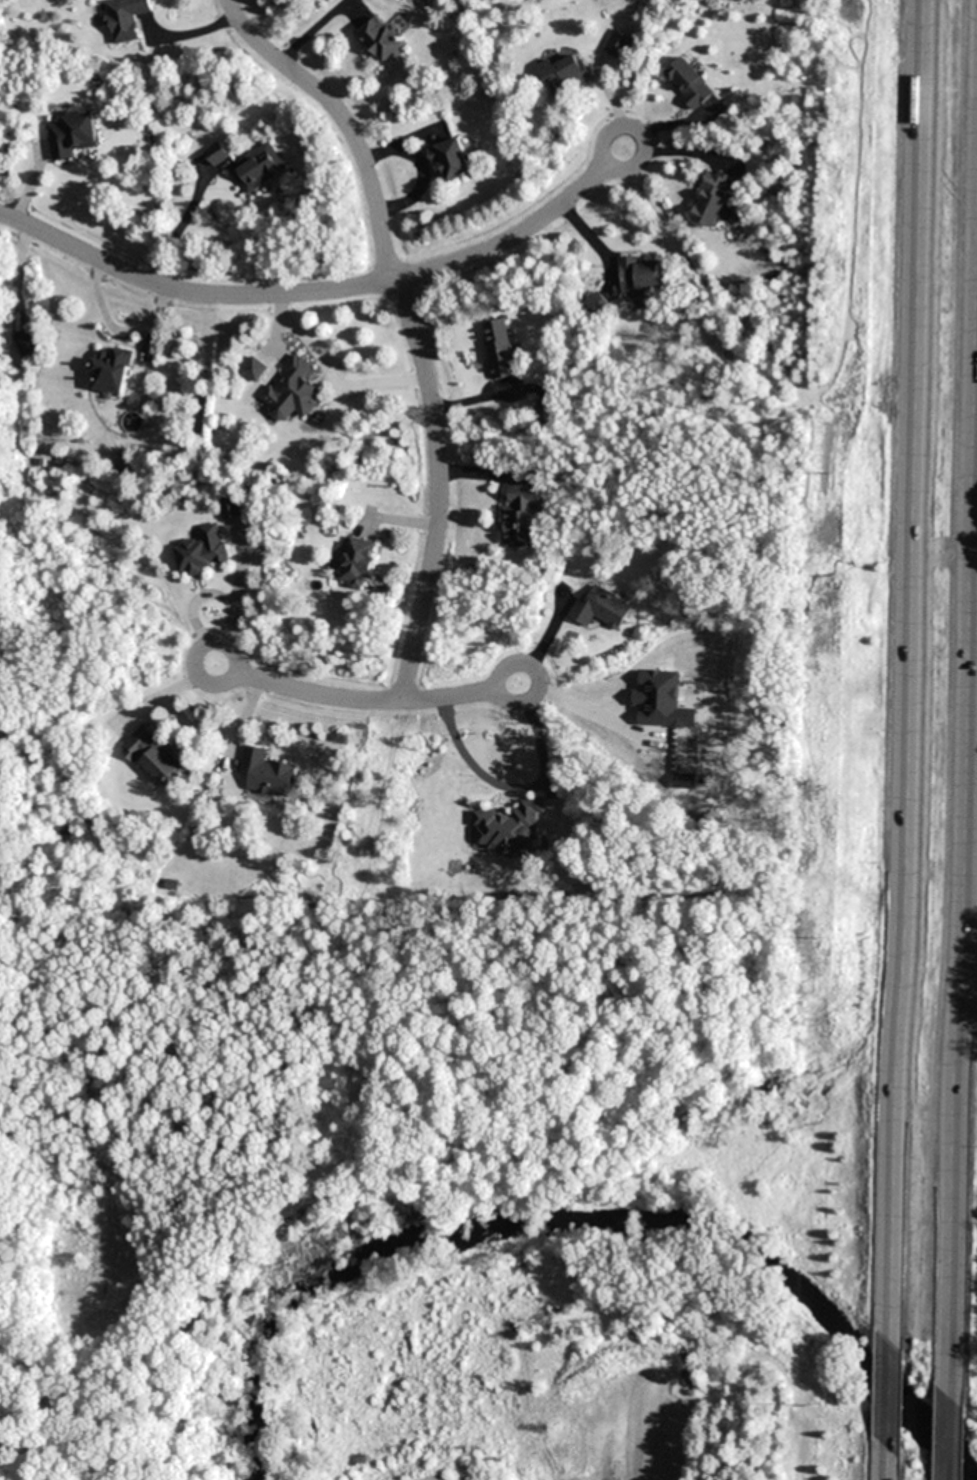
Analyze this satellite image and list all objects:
building: (125, 19)
building: (381, 41)
building: (617, 44)
building: (564, 73)
building: (688, 83)
road: (629, 128)
building: (72, 133)
building: (217, 155)
building: (452, 162)
building: (258, 168)
building: (712, 200)
road: (505, 242)
building: (638, 275)
road: (190, 294)
building: (596, 306)
road: (411, 322)
building: (26, 345)
building: (499, 348)
building: (254, 369)
building: (111, 373)
building: (297, 388)
building: (545, 413)
building: (232, 508)
building: (520, 518)
building: (202, 551)
building: (357, 563)
building: (601, 609)
road: (195, 666)
road: (908, 668)
road: (536, 672)
road: (322, 696)
road: (445, 699)
building: (153, 756)
building: (267, 773)
building: (509, 829)
road: (968, 1032)
river: (577, 1213)
park: (10, 1228)
road: (889, 1392)
road: (958, 1431)
road: (888, 1463)

